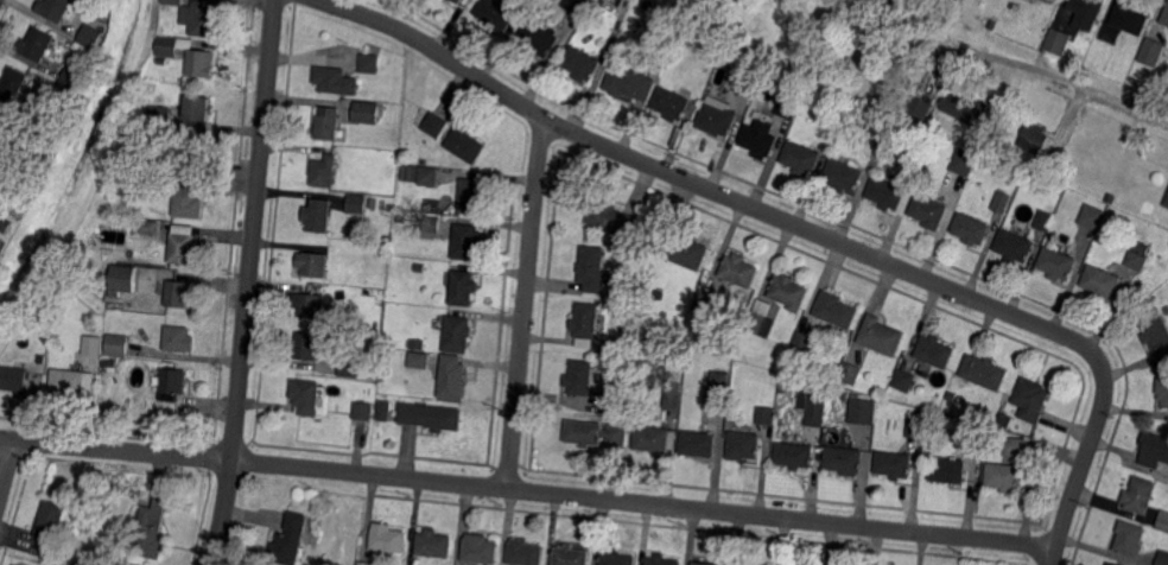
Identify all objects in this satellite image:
building: (174, 1)
building: (457, 1)
building: (602, 1)
building: (1050, 1)
building: (528, 2)
building: (577, 6)
building: (1014, 8)
building: (55, 9)
building: (1087, 12)
building: (495, 14)
building: (201, 21)
building: (1130, 21)
building: (1164, 21)
building: (989, 24)
building: (89, 37)
building: (665, 37)
building: (538, 38)
building: (1056, 42)
building: (36, 45)
building: (167, 47)
building: (1151, 53)
building: (1091, 57)
building: (201, 64)
building: (368, 64)
building: (579, 64)
road: (1052, 75)
building: (72, 77)
building: (335, 82)
building: (630, 82)
building: (13, 83)
building: (745, 83)
building: (672, 103)
building: (920, 106)
building: (788, 107)
building: (964, 107)
building: (34, 112)
building: (199, 113)
building: (366, 113)
building: (159, 115)
building: (855, 115)
building: (715, 116)
building: (325, 123)
building: (436, 125)
building: (878, 128)
building: (5, 135)
building: (757, 139)
building: (1034, 139)
building: (465, 144)
building: (193, 158)
building: (801, 158)
building: (918, 158)
building: (963, 163)
building: (323, 172)
building: (408, 172)
building: (844, 174)
building: (430, 176)
building: (888, 190)
building: (470, 196)
building: (1110, 197)
building: (188, 202)
building: (1002, 202)
building: (356, 203)
building: (1166, 203)
building: (372, 204)
building: (123, 205)
building: (929, 210)
building: (318, 215)
building: (1092, 216)
building: (610, 218)
building: (1045, 220)
building: (433, 224)
building: (4, 227)
road: (804, 227)
building: (971, 228)
building: (147, 230)
building: (1, 241)
building: (466, 241)
building: (183, 246)
building: (1014, 247)
building: (685, 250)
building: (1137, 255)
building: (1058, 264)
building: (316, 265)
building: (419, 268)
building: (591, 269)
building: (739, 269)
building: (123, 279)
building: (1102, 281)
building: (100, 282)
road: (249, 282)
building: (461, 287)
building: (788, 292)
building: (179, 294)
building: (704, 301)
road: (525, 304)
building: (310, 305)
building: (834, 310)
building: (760, 319)
building: (586, 324)
building: (1156, 332)
building: (456, 334)
building: (880, 337)
building: (177, 339)
building: (118, 344)
building: (93, 345)
building: (307, 345)
building: (418, 345)
building: (627, 345)
building: (798, 348)
building: (935, 351)
building: (419, 360)
building: (109, 363)
building: (348, 367)
building: (985, 372)
building: (849, 373)
building: (452, 376)
building: (580, 377)
building: (13, 379)
building: (718, 380)
building: (904, 380)
building: (74, 381)
building: (173, 383)
building: (1163, 391)
building: (673, 394)
building: (306, 395)
building: (951, 396)
building: (1031, 399)
building: (612, 407)
building: (363, 410)
building: (385, 411)
building: (862, 413)
building: (431, 415)
building: (767, 415)
building: (814, 417)
building: (1004, 417)
building: (918, 427)
building: (596, 433)
building: (656, 438)
building: (972, 438)
building: (698, 444)
building: (744, 445)
building: (1015, 446)
building: (1154, 449)
building: (795, 455)
building: (844, 459)
building: (895, 464)
road: (7, 469)
building: (948, 470)
building: (1004, 476)
building: (166, 484)
road: (528, 491)
building: (1141, 494)
building: (1163, 520)
building: (50, 522)
building: (150, 531)
building: (1130, 538)
building: (386, 539)
building: (290, 540)
building: (433, 544)
building: (480, 548)
building: (526, 552)
building: (571, 556)
building: (1163, 558)
building: (63, 559)
building: (616, 559)
building: (661, 560)
building: (705, 563)
building: (363, 564)
building: (1112, 564)

